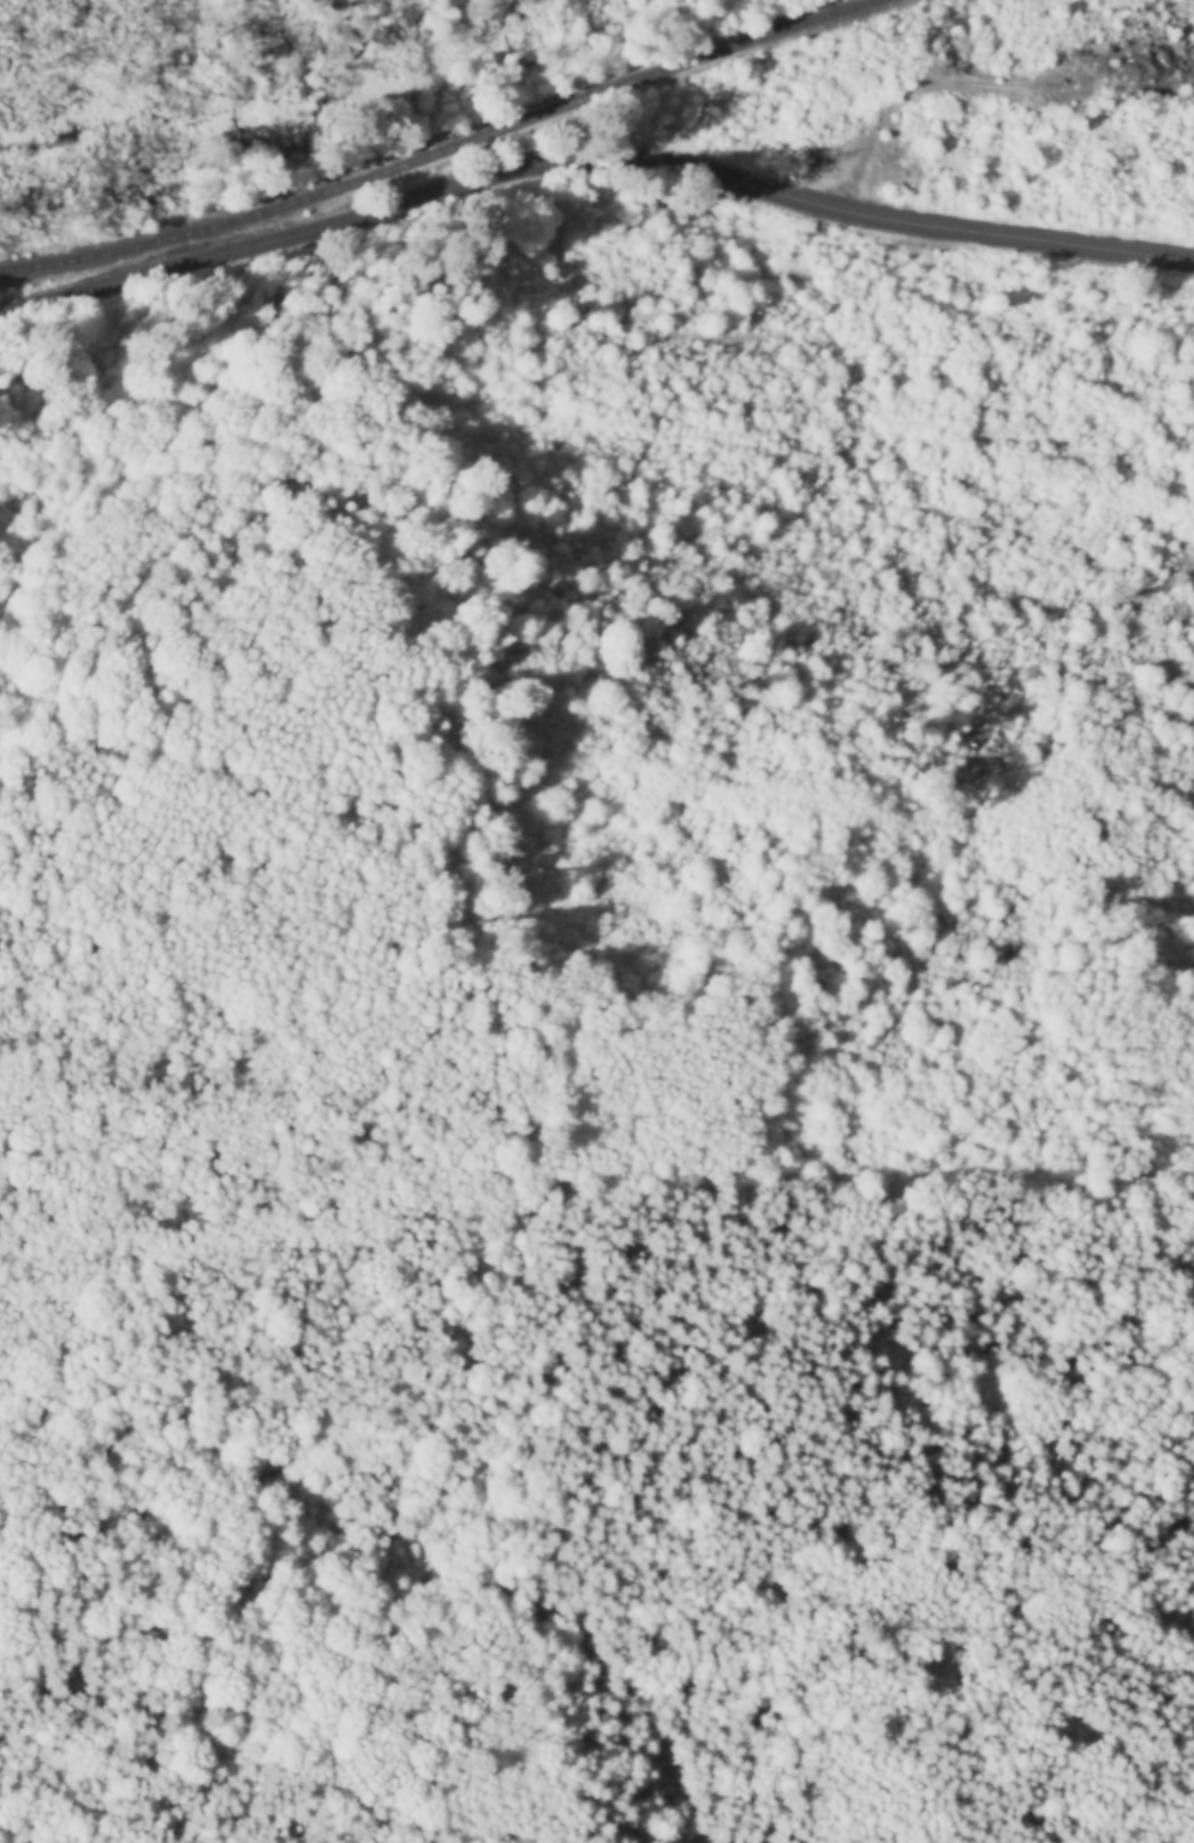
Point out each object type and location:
railway: (446, 144)
road: (593, 208)

